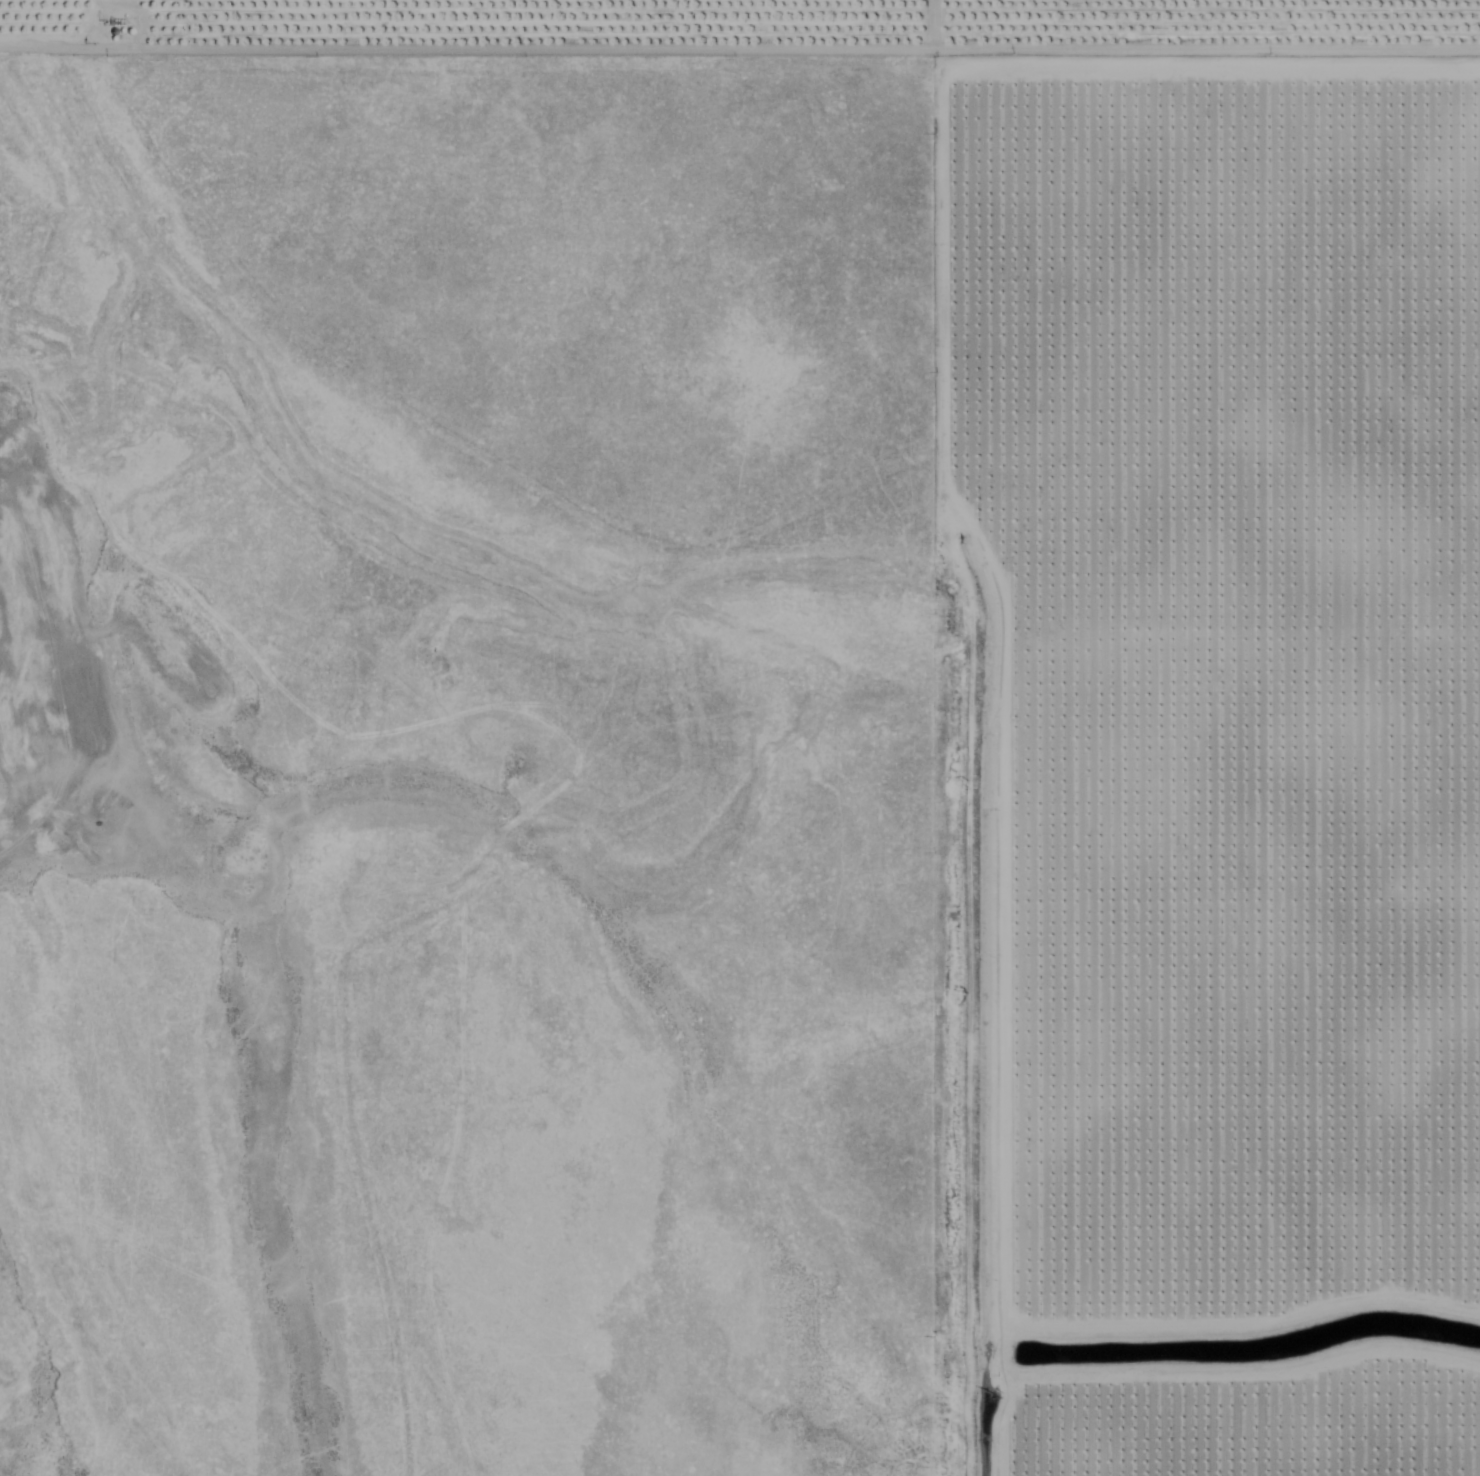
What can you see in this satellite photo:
crop: (1194, 674)
road: (1098, 1211)

